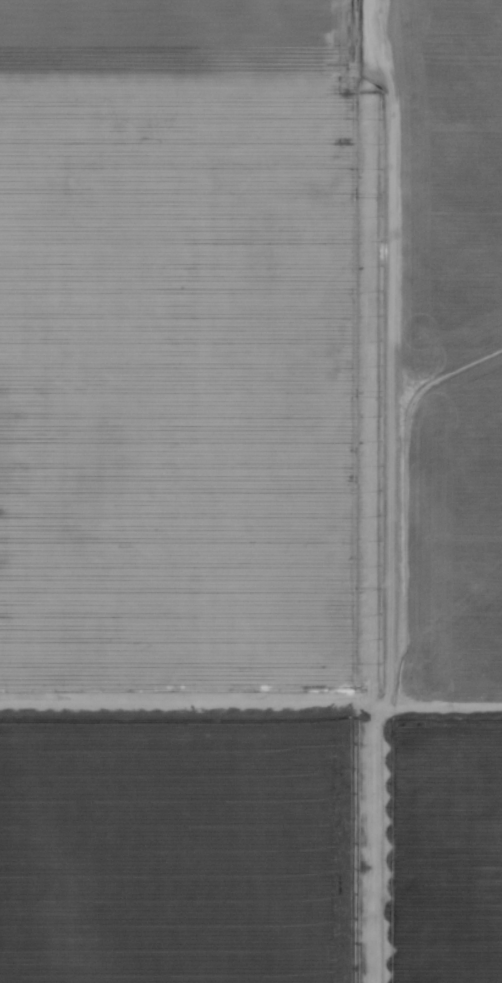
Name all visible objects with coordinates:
road: (364, 354)
road: (320, 706)
road: (434, 708)

